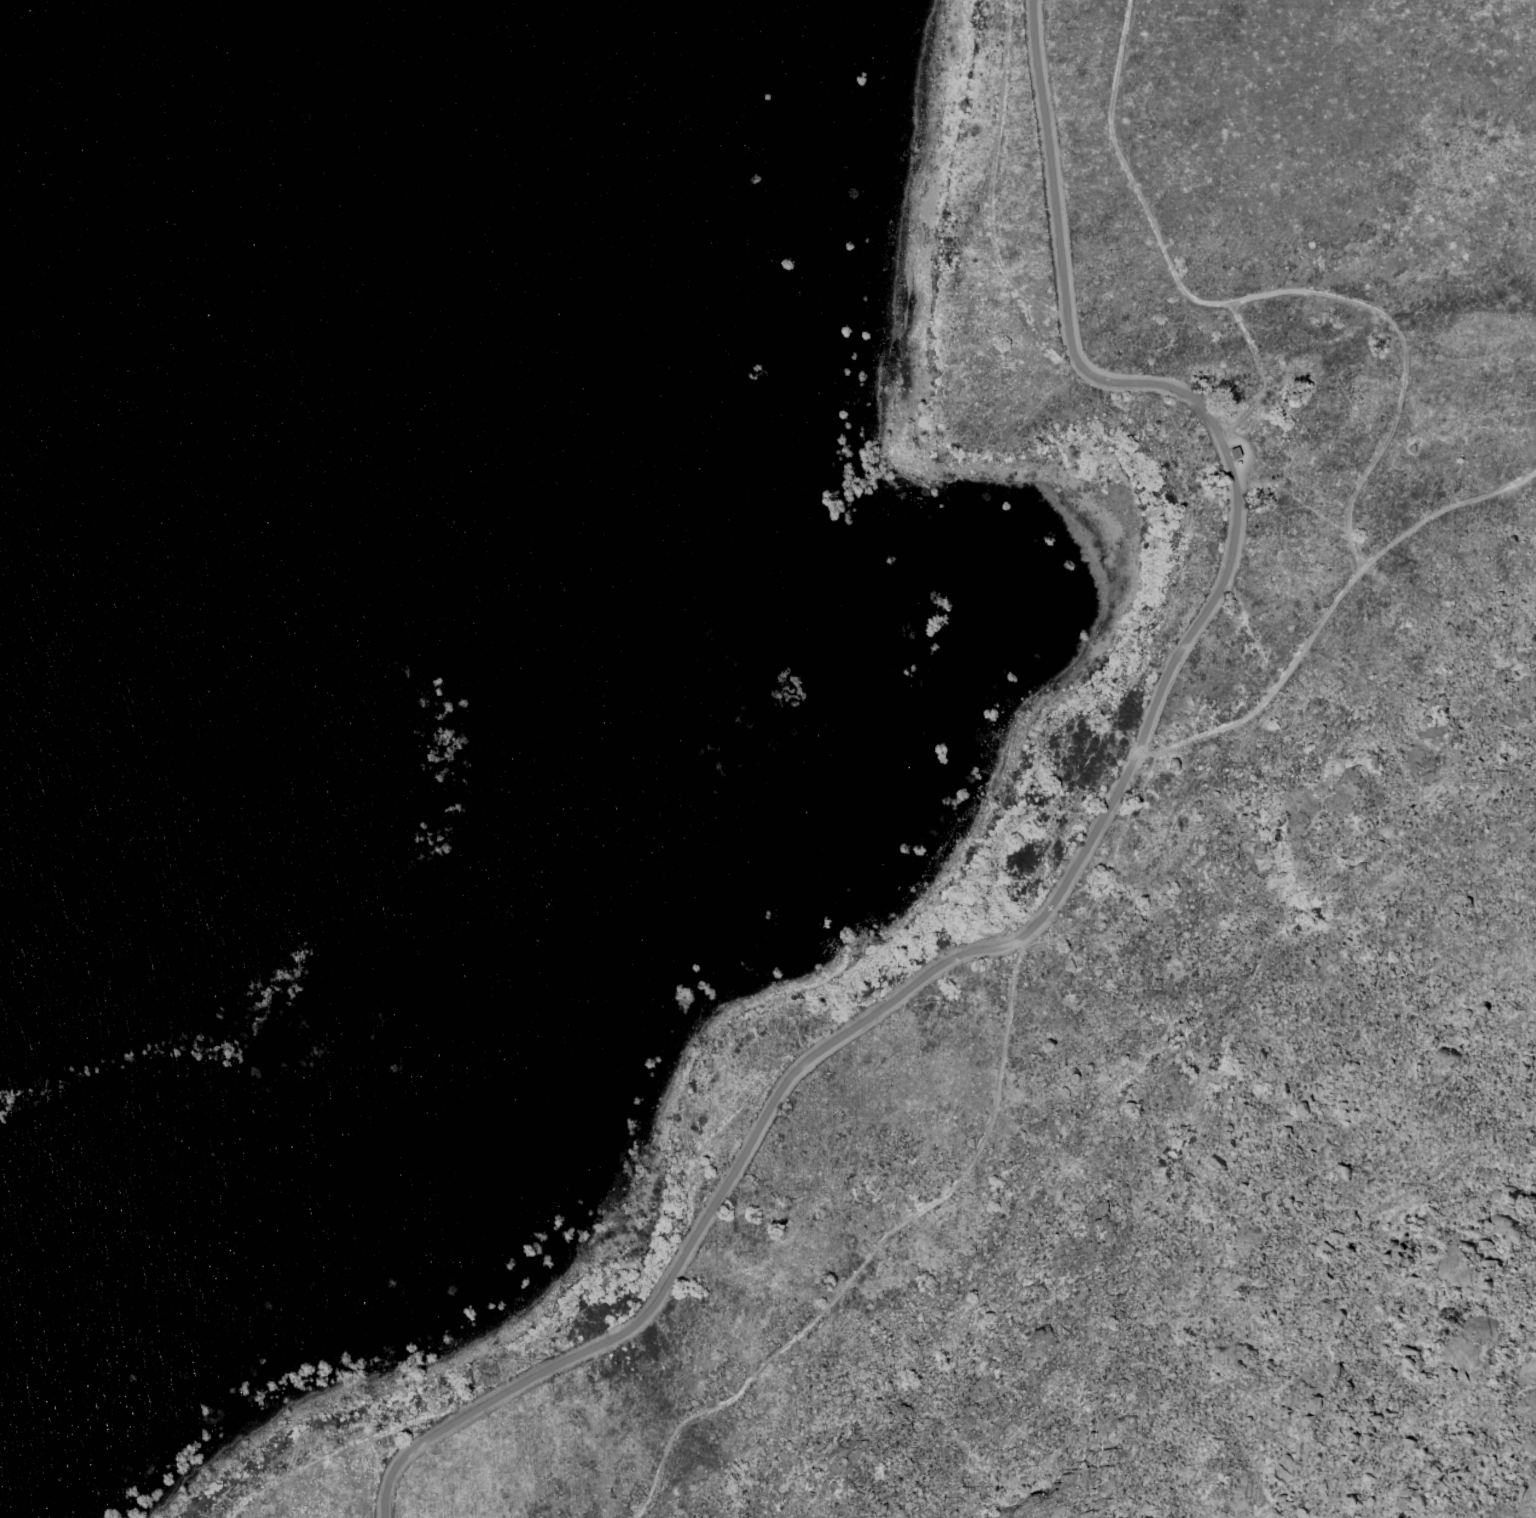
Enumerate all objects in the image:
road: (1264, 296)
road: (1328, 608)
road: (1079, 857)
road: (1019, 943)
road: (974, 1158)

